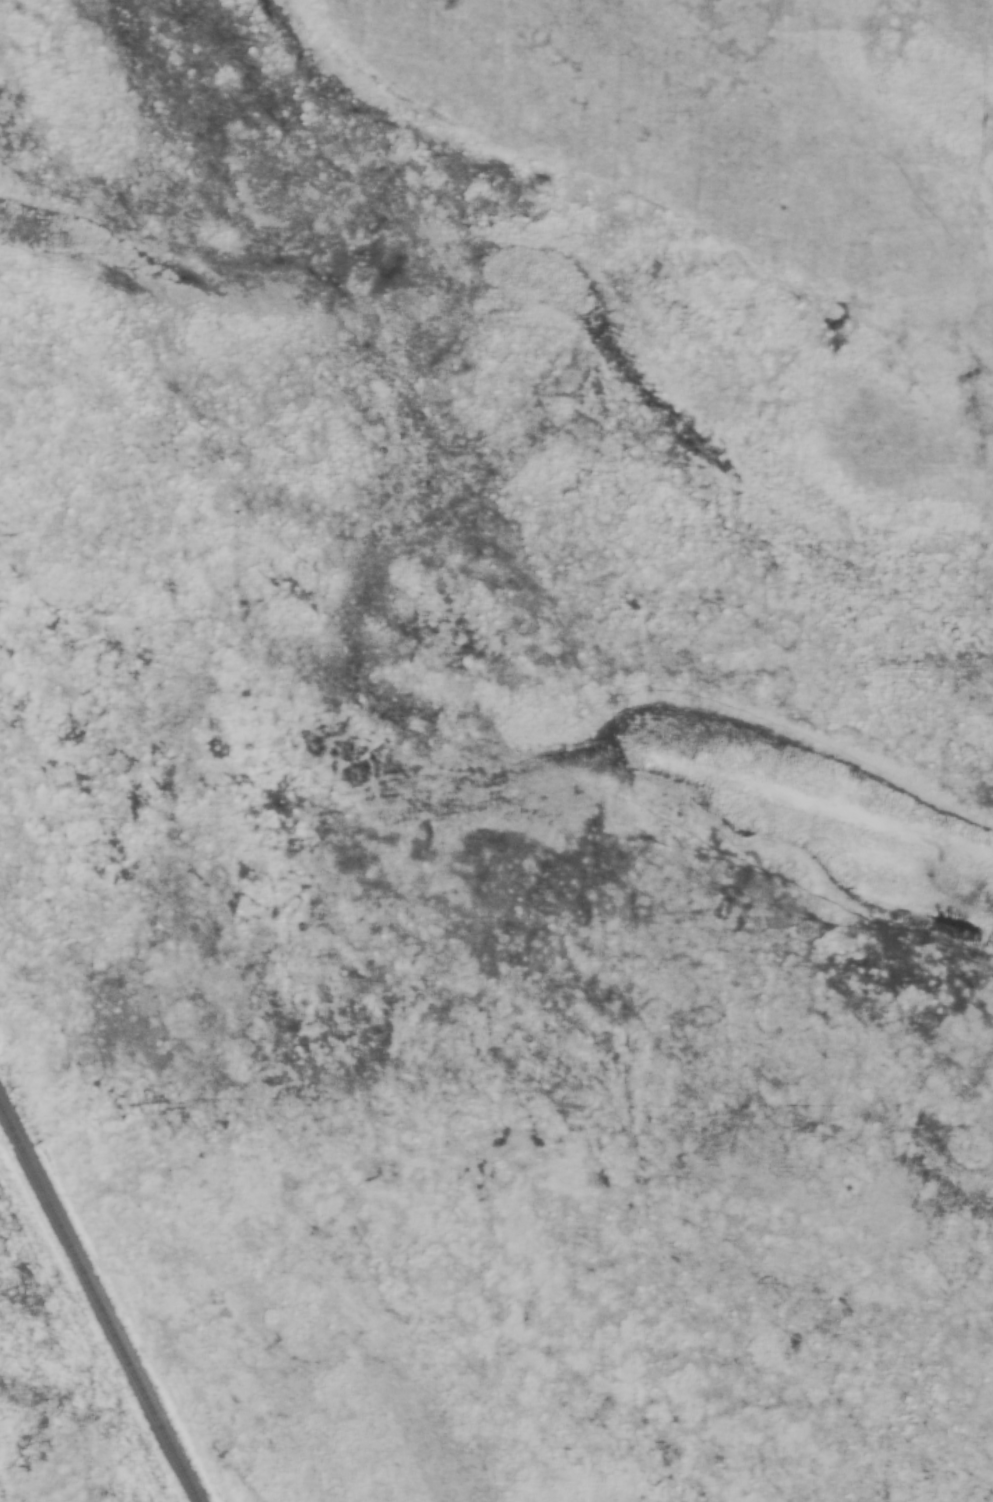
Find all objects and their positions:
railway: (98, 1304)

